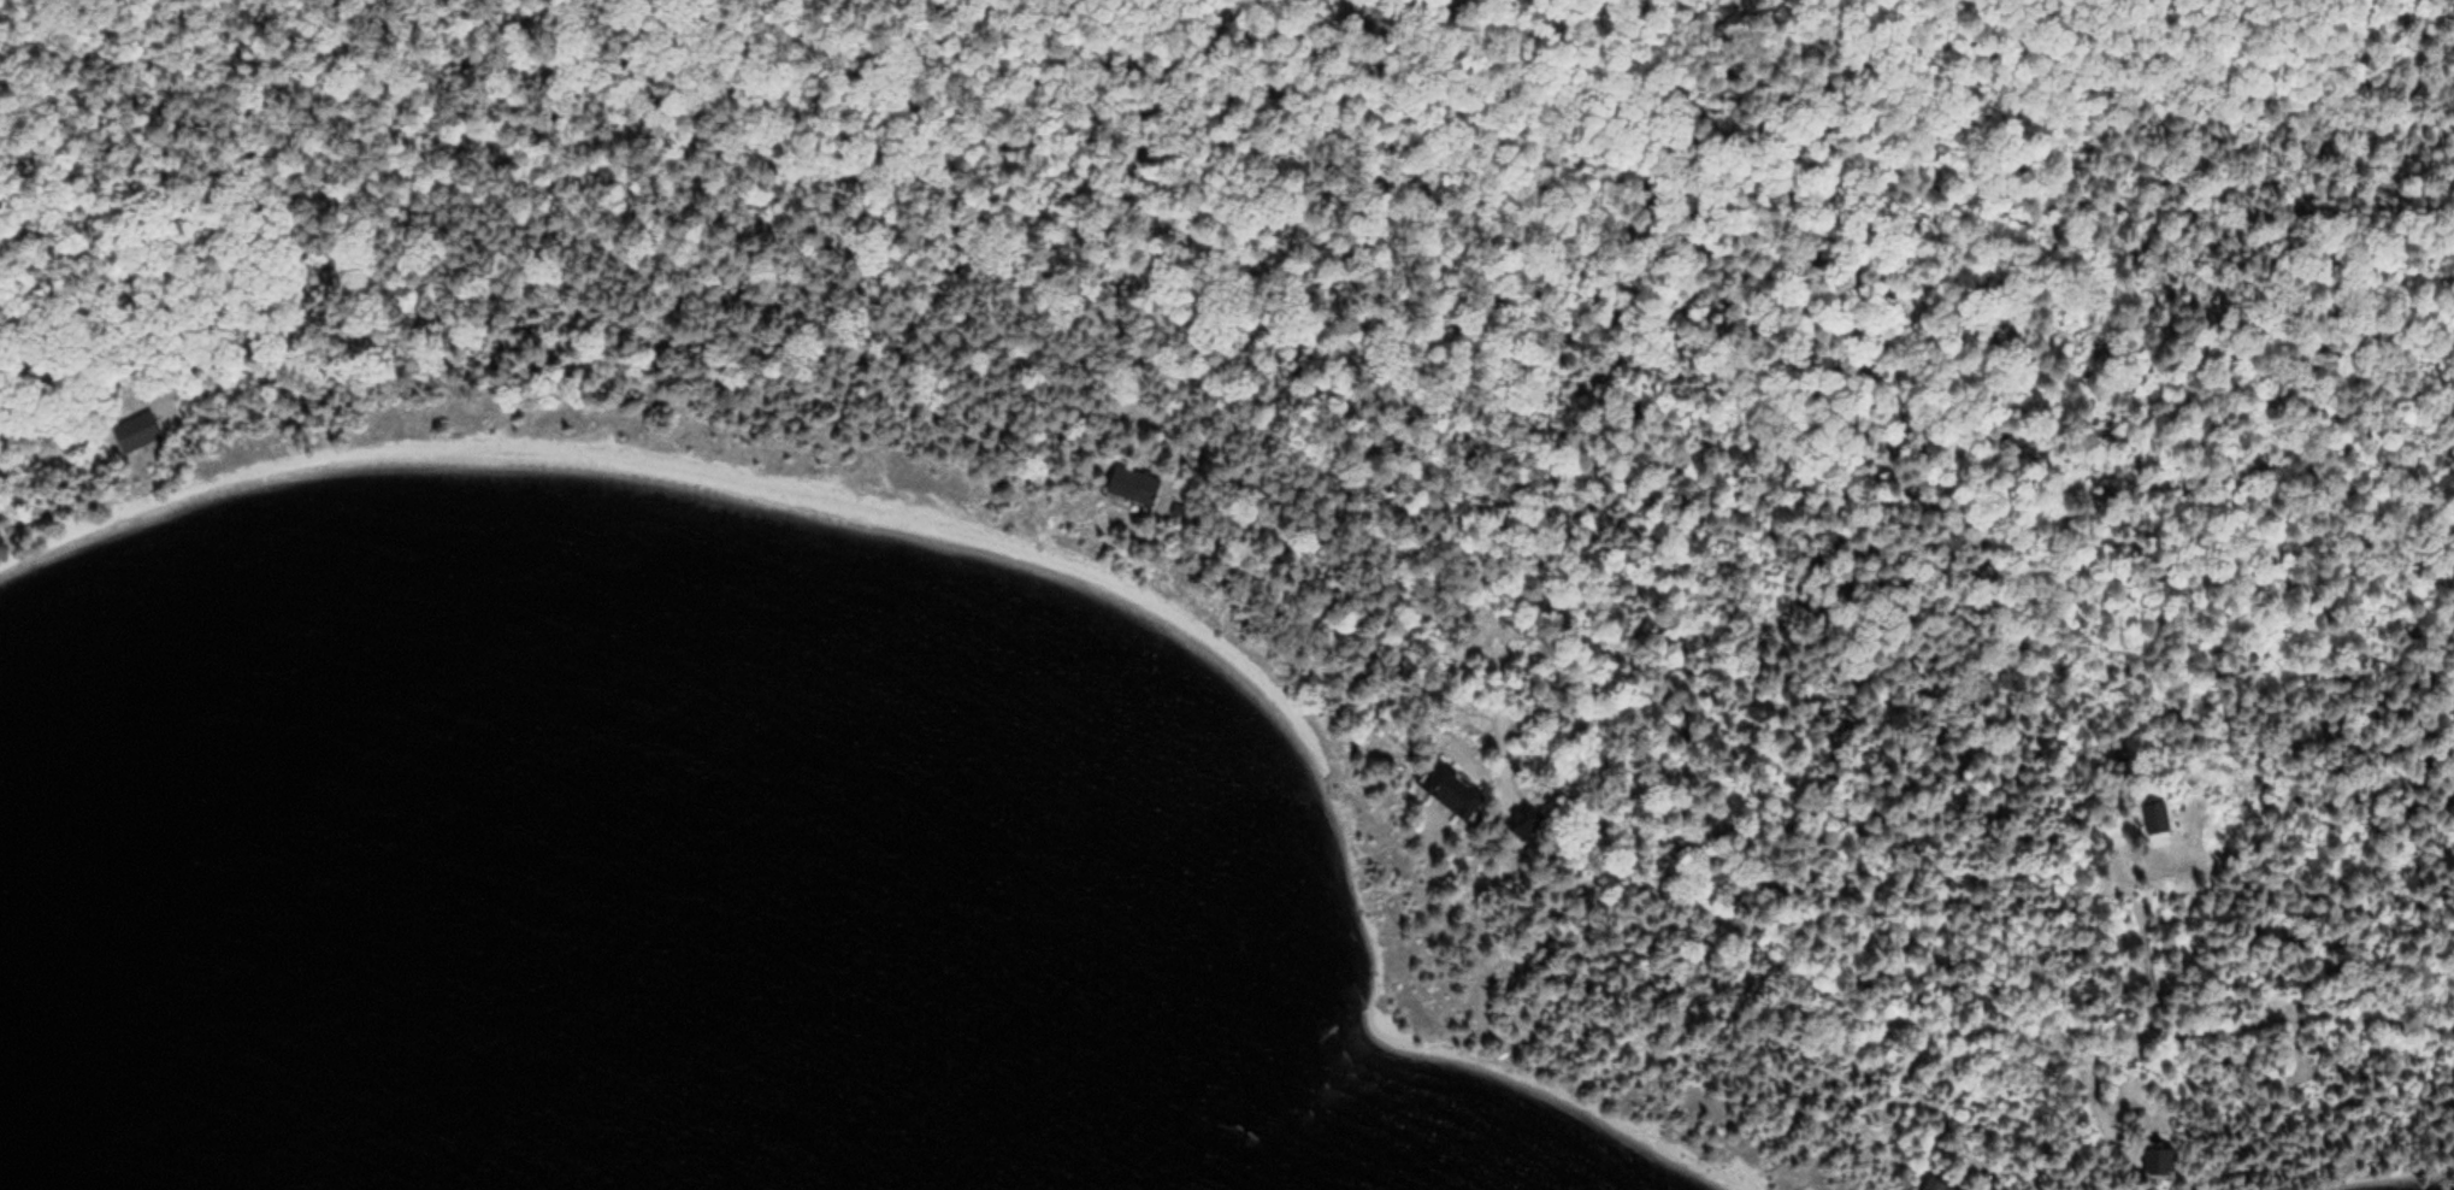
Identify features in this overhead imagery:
building: (135, 431)
road: (1202, 453)
building: (1133, 484)
road: (1499, 673)
building: (1451, 789)
building: (2155, 817)
road: (1609, 820)
building: (2159, 1160)
building: (1947, 1188)

